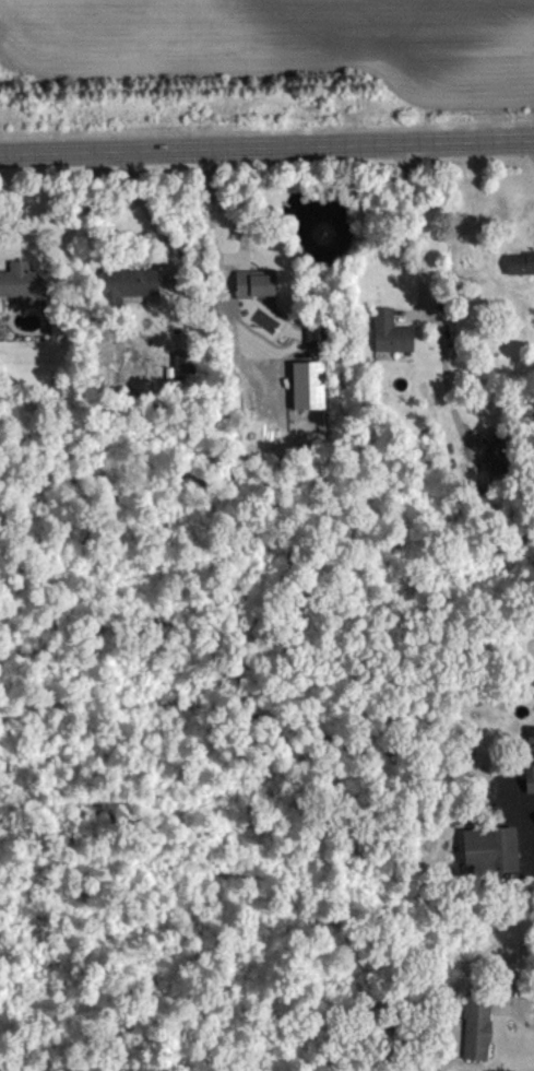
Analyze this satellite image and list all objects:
road: (266, 145)
road: (419, 232)
road: (219, 272)
building: (521, 275)
building: (23, 293)
building: (130, 296)
building: (256, 296)
building: (392, 344)
building: (317, 349)
building: (185, 375)
road: (447, 388)
building: (309, 397)
building: (499, 469)
building: (530, 769)
building: (491, 862)
building: (477, 1039)

